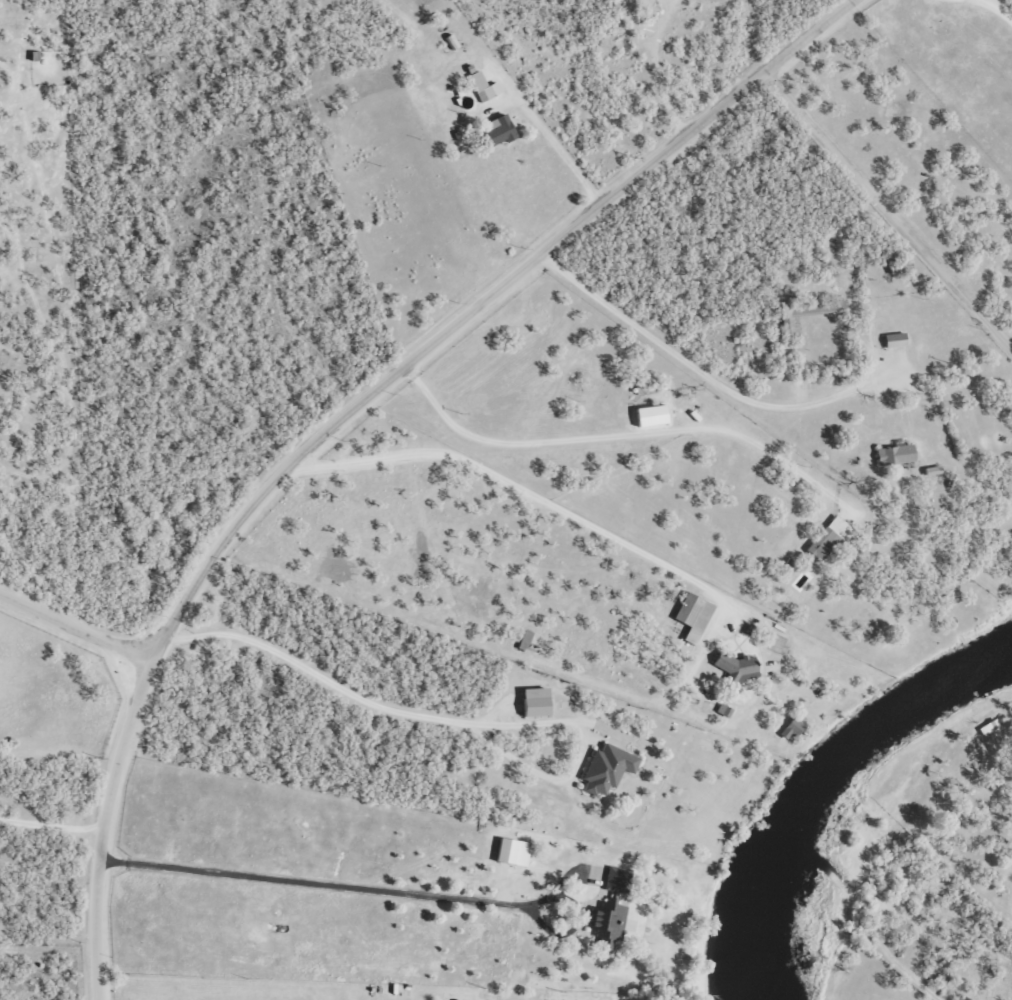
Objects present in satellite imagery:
building: (481, 86)
building: (494, 130)
road: (886, 210)
road: (472, 307)
building: (892, 339)
building: (647, 415)
building: (892, 454)
building: (825, 538)
building: (691, 615)
road: (74, 626)
building: (734, 668)
road: (314, 674)
building: (531, 702)
building: (721, 710)
building: (986, 726)
building: (788, 728)
building: (604, 768)
road: (99, 827)
building: (509, 851)
building: (613, 878)
building: (604, 924)

